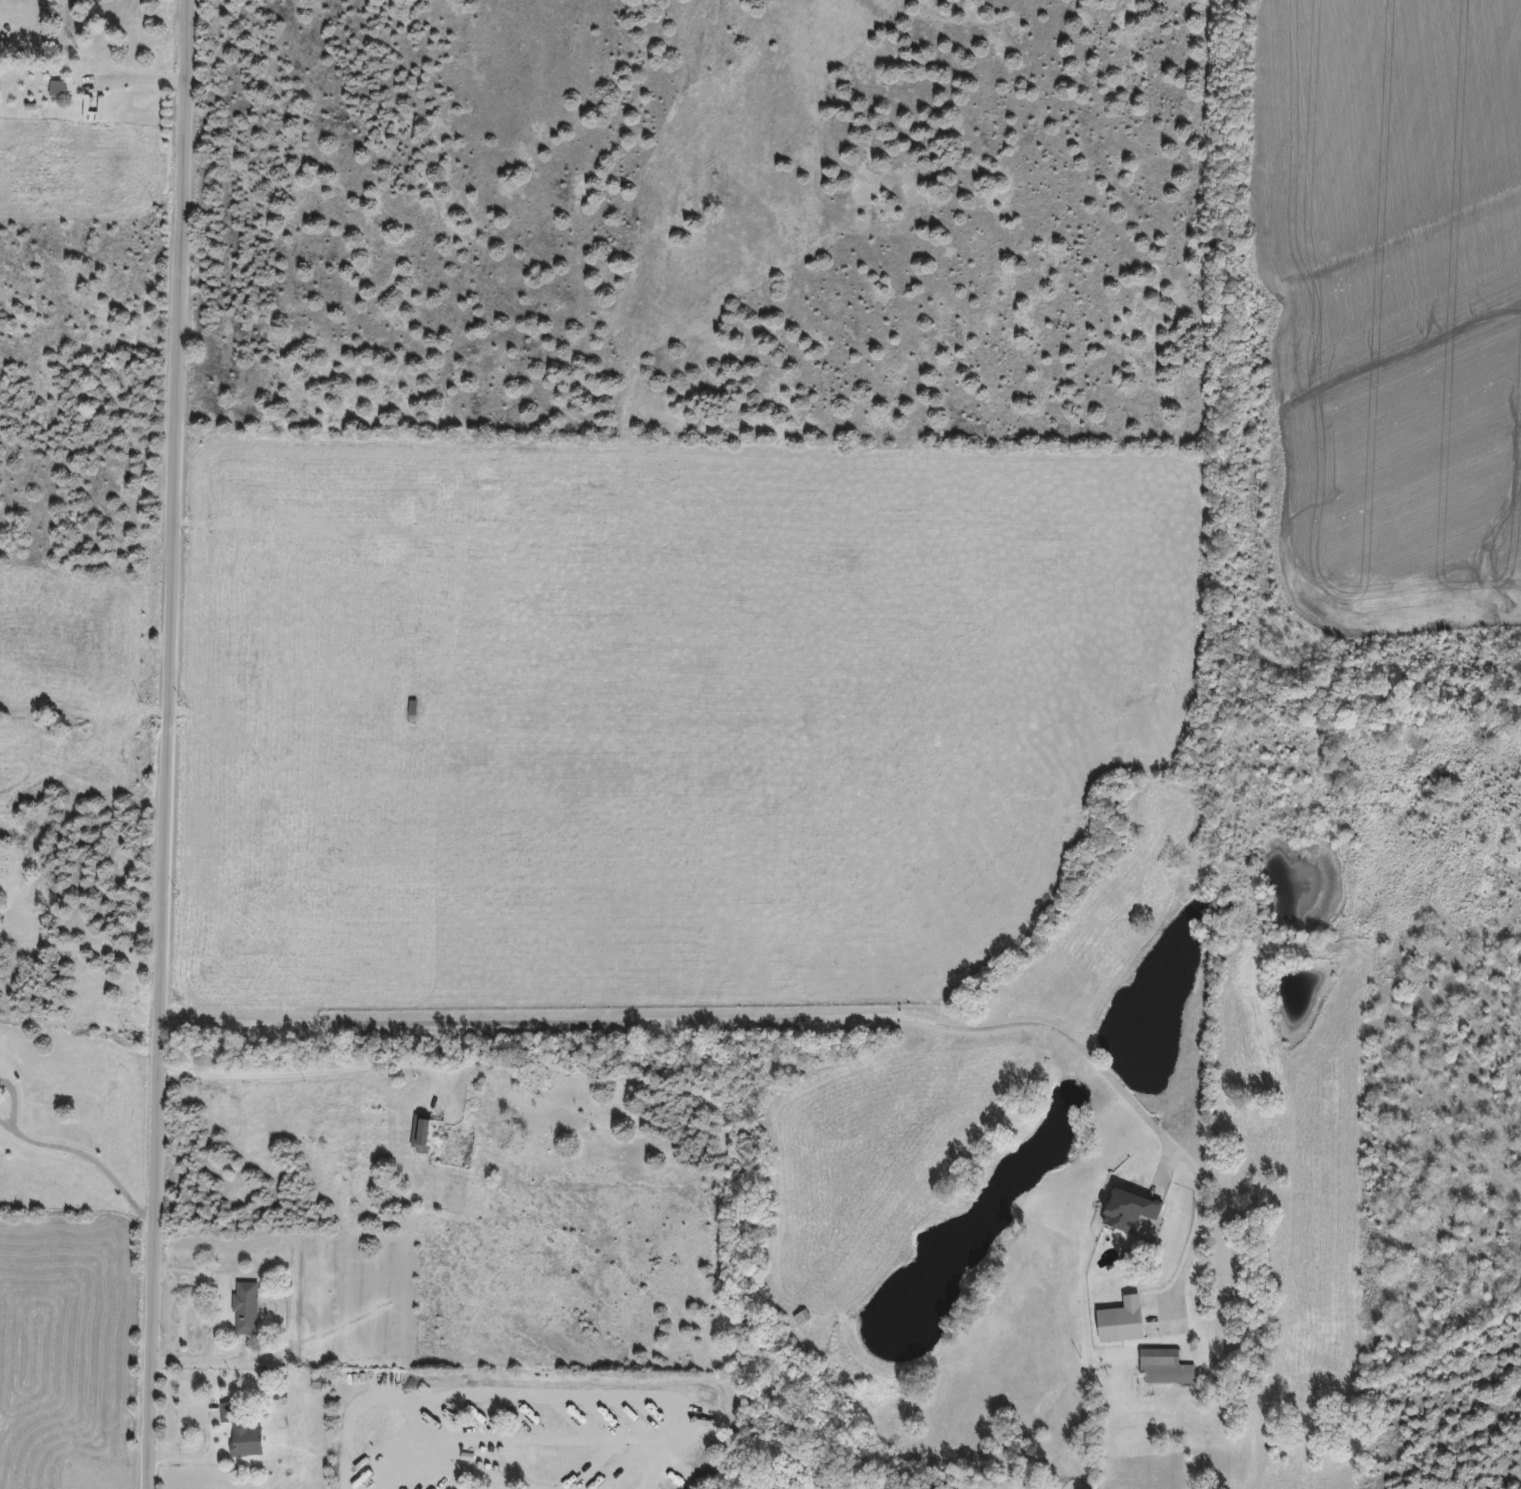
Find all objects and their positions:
road: (139, 79)
building: (56, 90)
building: (411, 710)
road: (168, 744)
road: (86, 948)
road: (746, 1020)
road: (315, 1069)
road: (13, 1102)
road: (6, 1125)
building: (421, 1133)
building: (503, 1136)
road: (95, 1159)
building: (1127, 1212)
building: (245, 1309)
building: (1120, 1322)
road: (201, 1358)
building: (1163, 1368)
road: (564, 1388)
building: (239, 1433)
road: (544, 1433)
road: (1252, 1446)
building: (485, 1449)

